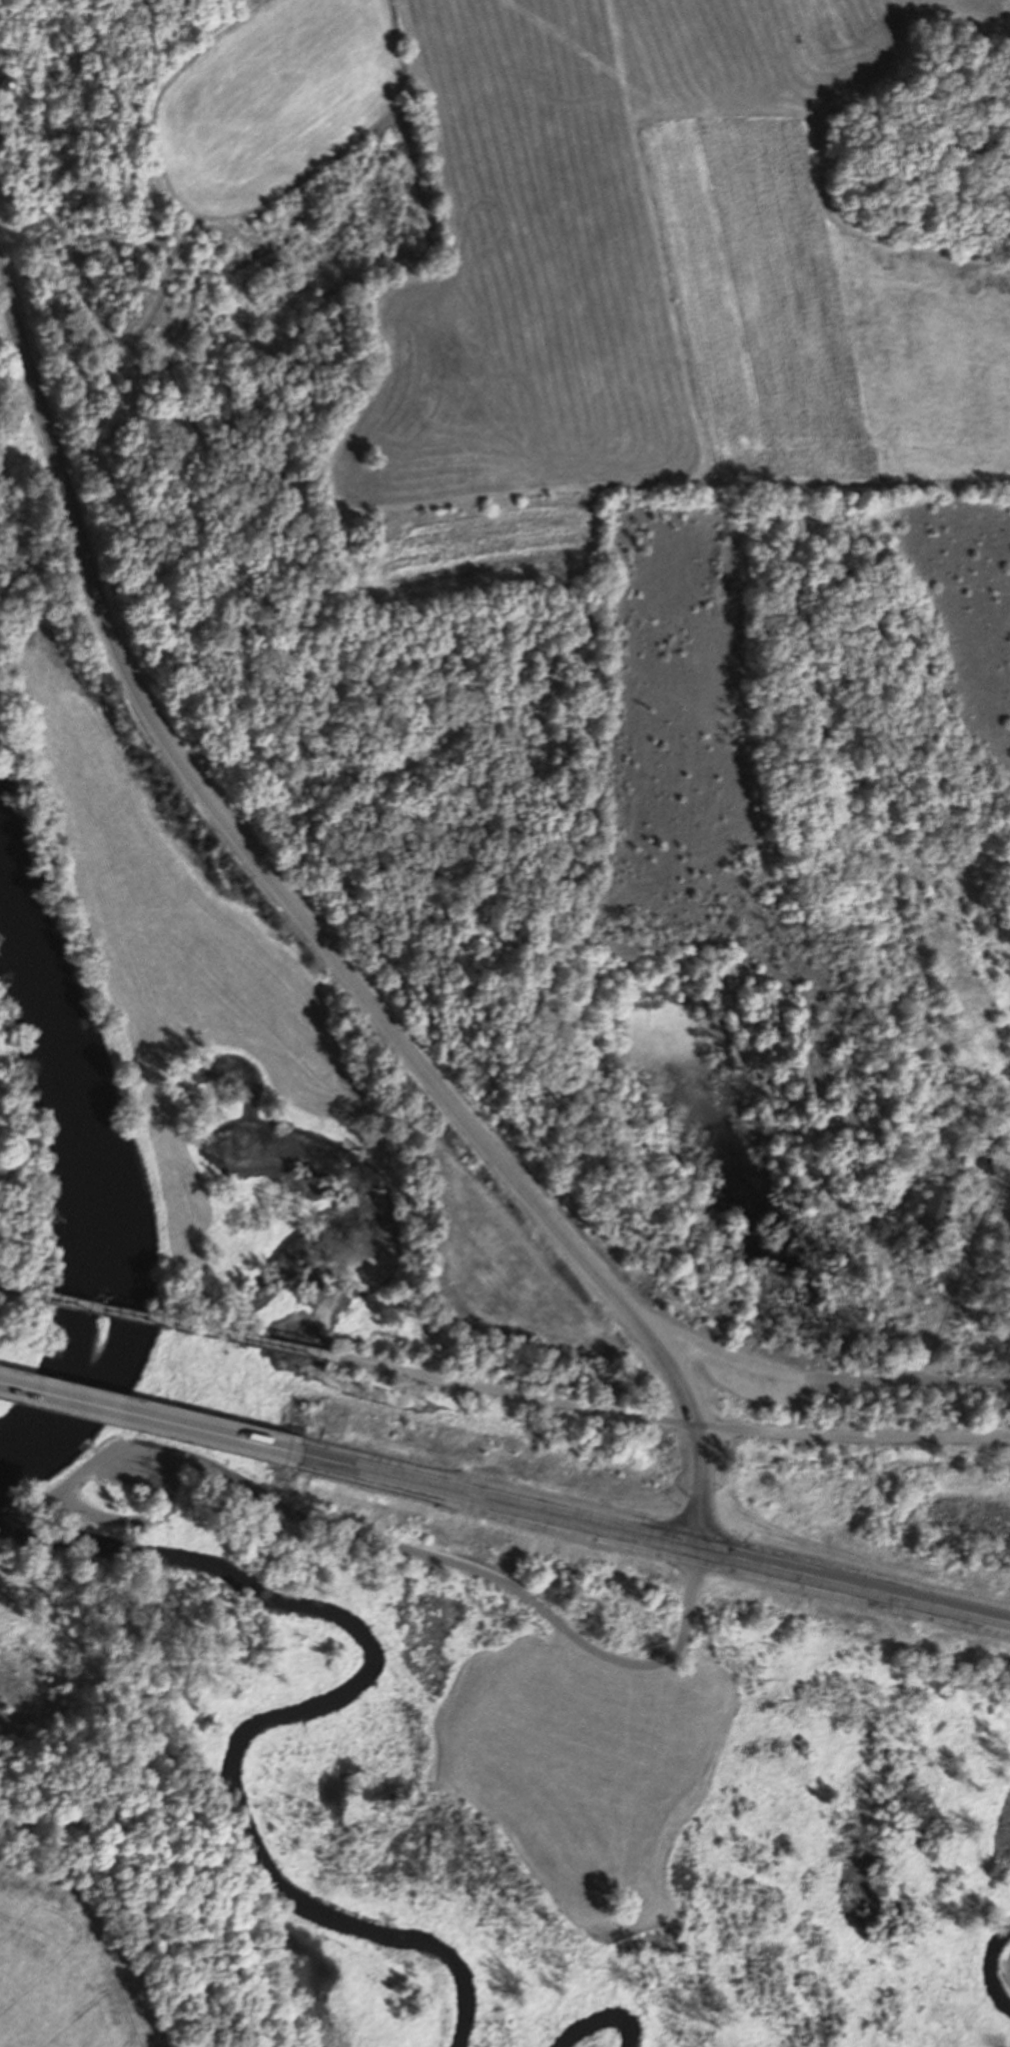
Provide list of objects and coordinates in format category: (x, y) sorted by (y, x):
road: (319, 940)
river: (85, 1131)
building: (922, 1205)
road: (959, 1270)
road: (15, 1291)
road: (186, 1326)
road: (819, 1380)
road: (149, 1418)
road: (673, 1424)
parking lot: (142, 1476)
road: (36, 1507)
road: (100, 1517)
road: (654, 1540)
road: (465, 1574)

